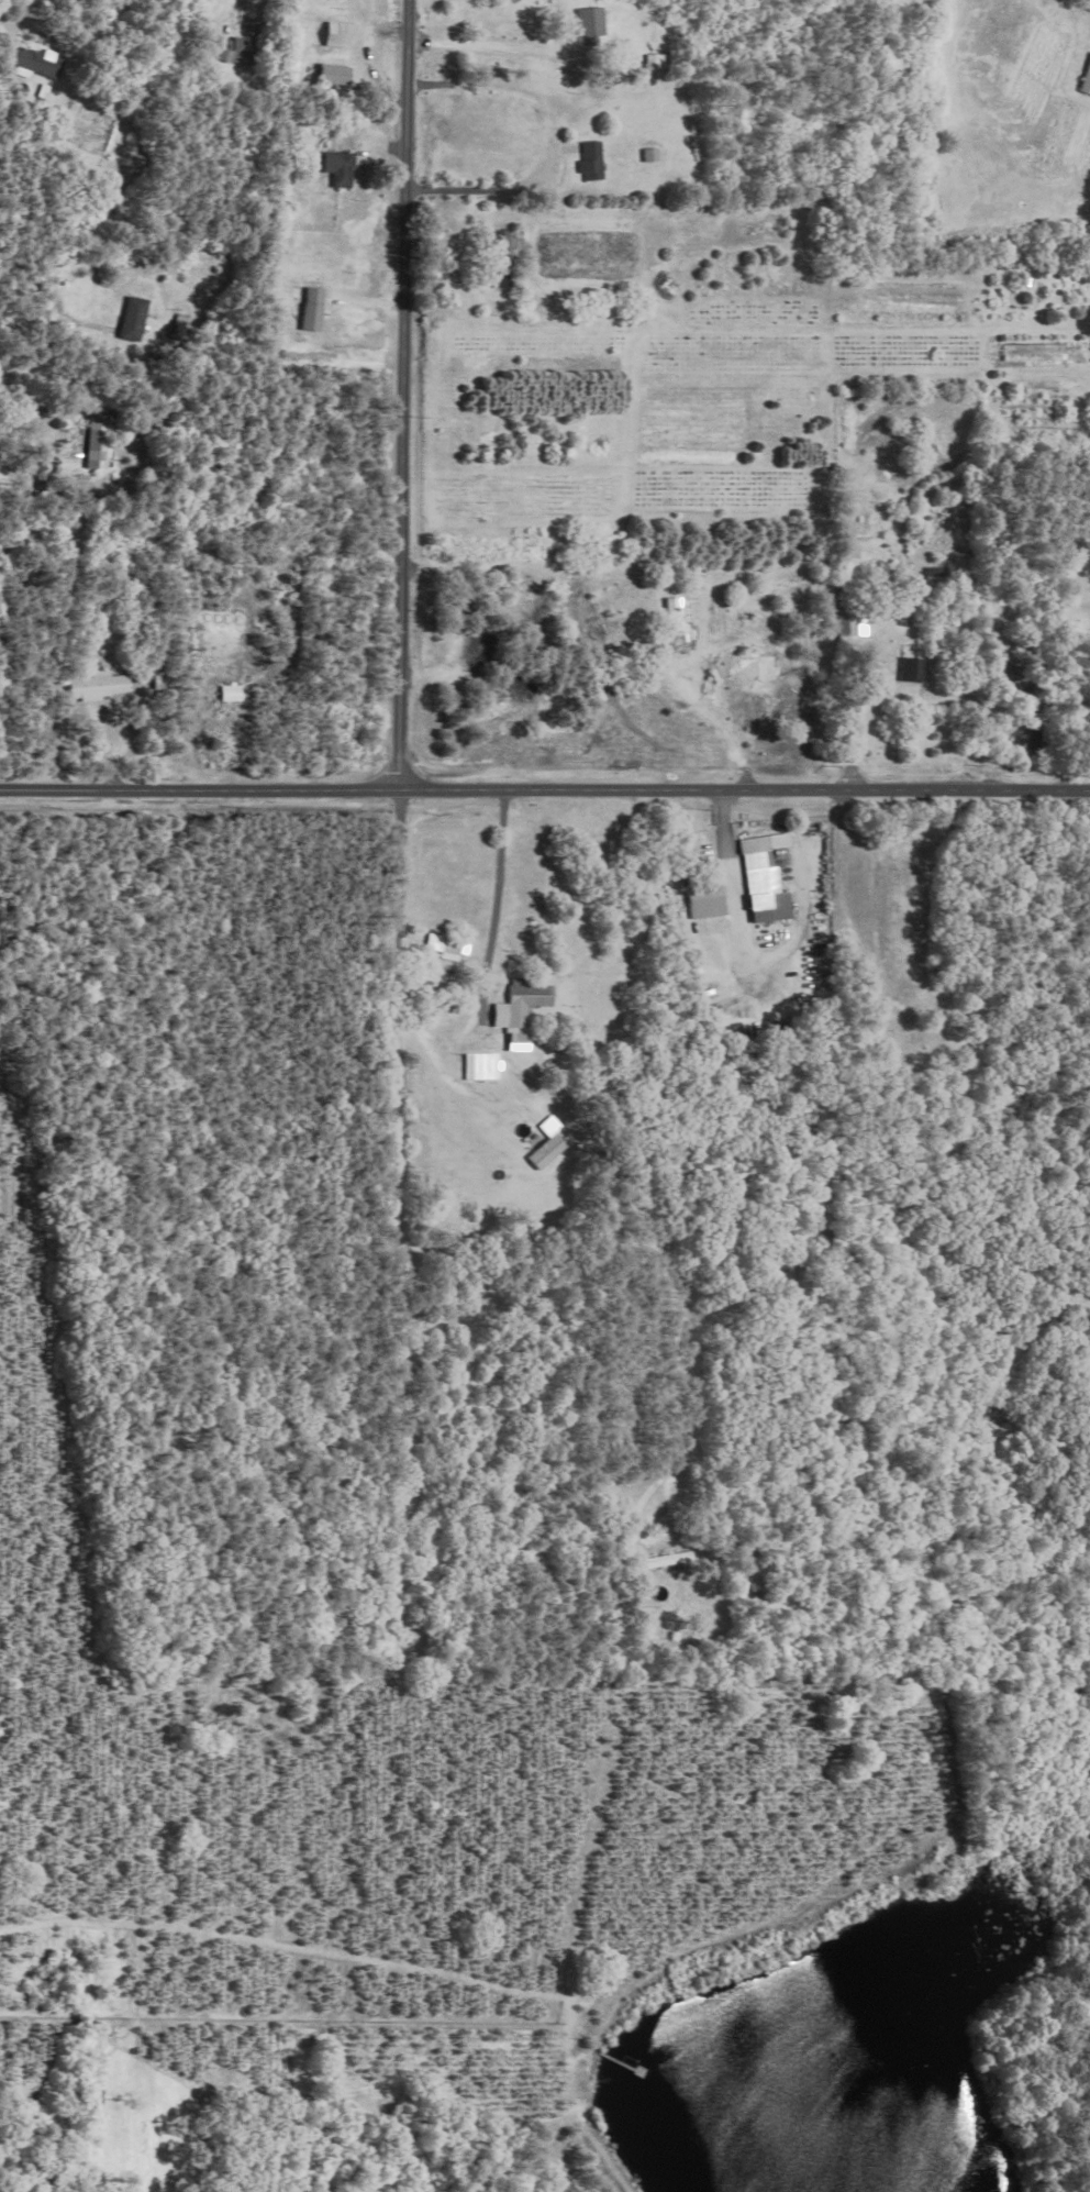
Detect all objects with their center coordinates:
building: (589, 27)
building: (342, 35)
road: (490, 47)
building: (234, 48)
building: (36, 62)
building: (658, 62)
building: (335, 74)
building: (1086, 80)
road: (555, 139)
building: (650, 155)
building: (592, 162)
building: (341, 168)
road: (56, 289)
building: (314, 309)
building: (133, 318)
road: (412, 395)
building: (98, 441)
road: (35, 455)
building: (853, 556)
building: (853, 620)
building: (914, 668)
building: (101, 684)
building: (232, 691)
road: (859, 720)
road: (131, 733)
road: (544, 788)
building: (769, 878)
road: (733, 886)
building: (708, 900)
road: (497, 904)
building: (447, 946)
road: (408, 985)
building: (520, 1010)
building: (481, 1065)
building: (550, 1142)
building: (666, 1560)
pier: (614, 2060)

